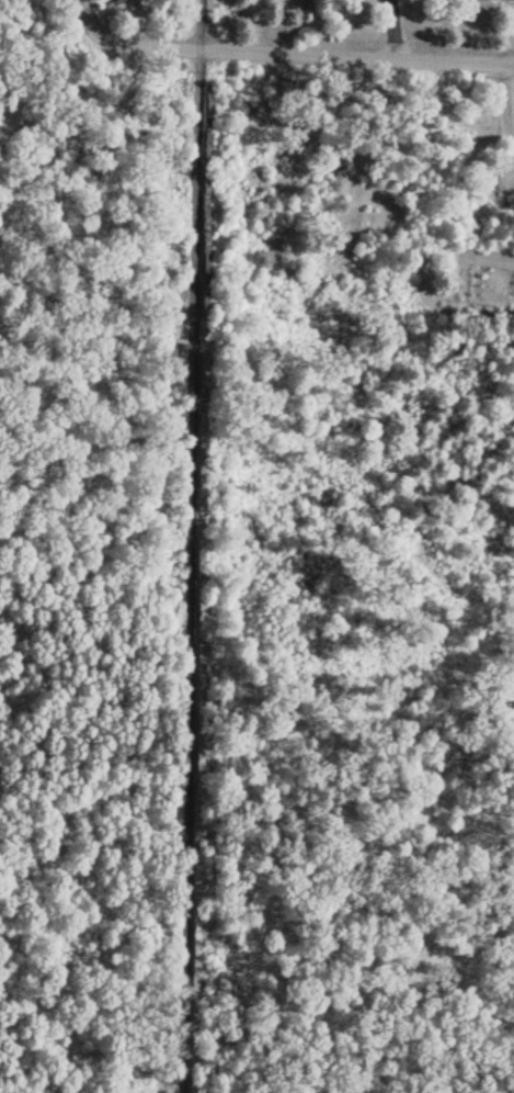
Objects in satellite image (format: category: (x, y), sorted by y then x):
road: (82, 8)
road: (136, 42)
road: (355, 54)
building: (340, 168)
road: (194, 546)

